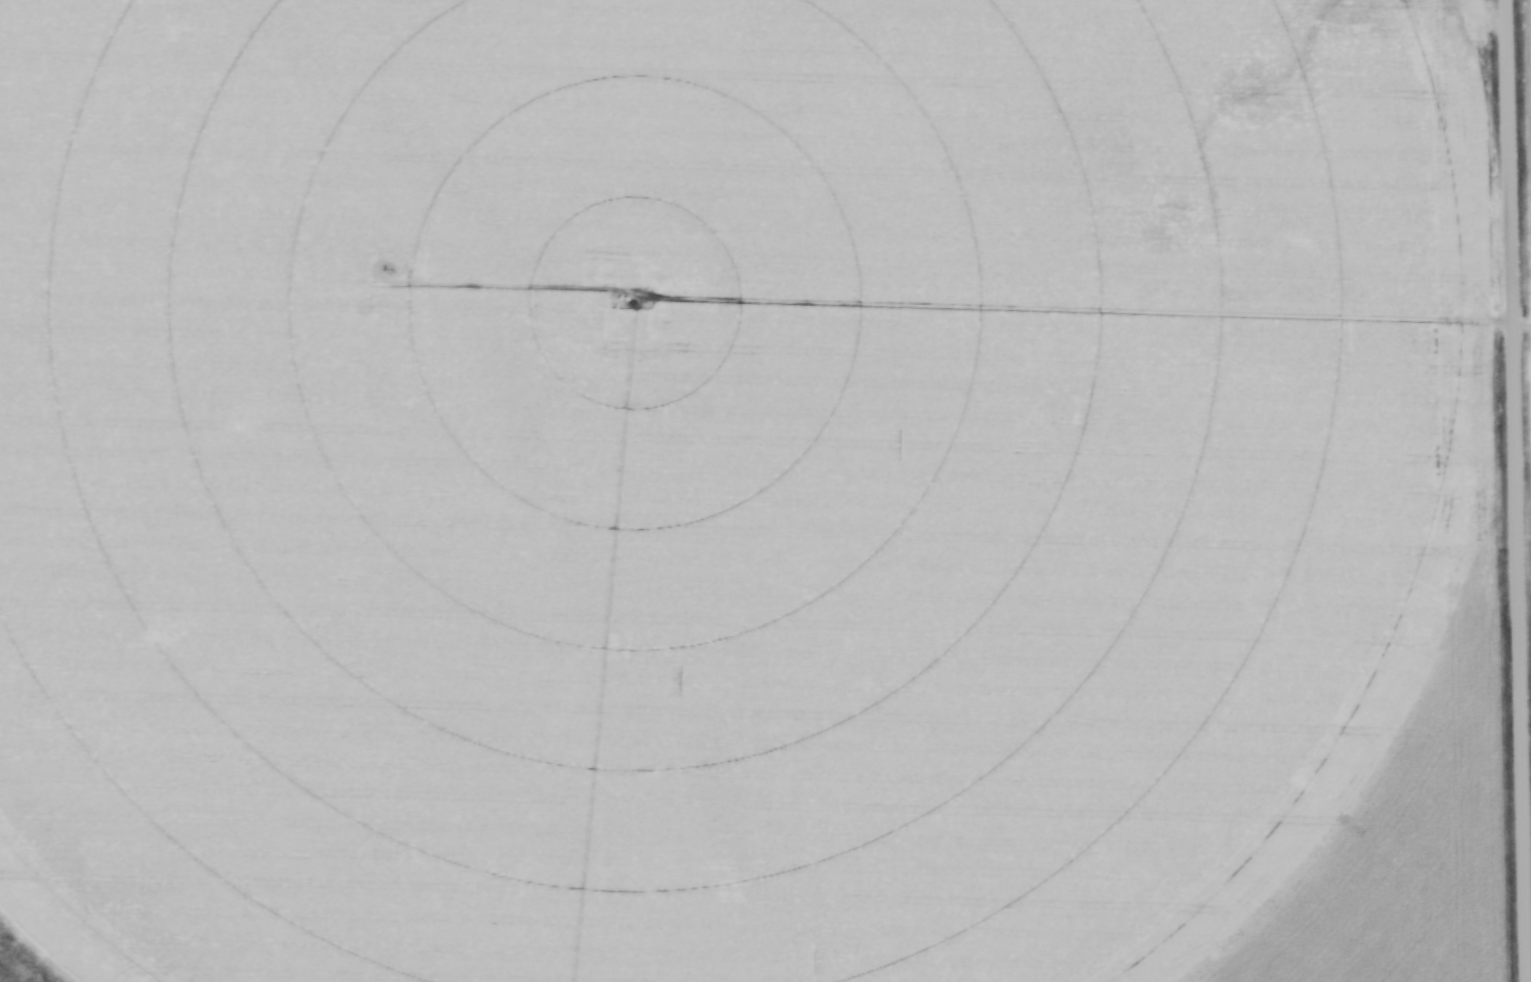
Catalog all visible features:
crop: (712, 477)
road: (1514, 490)

